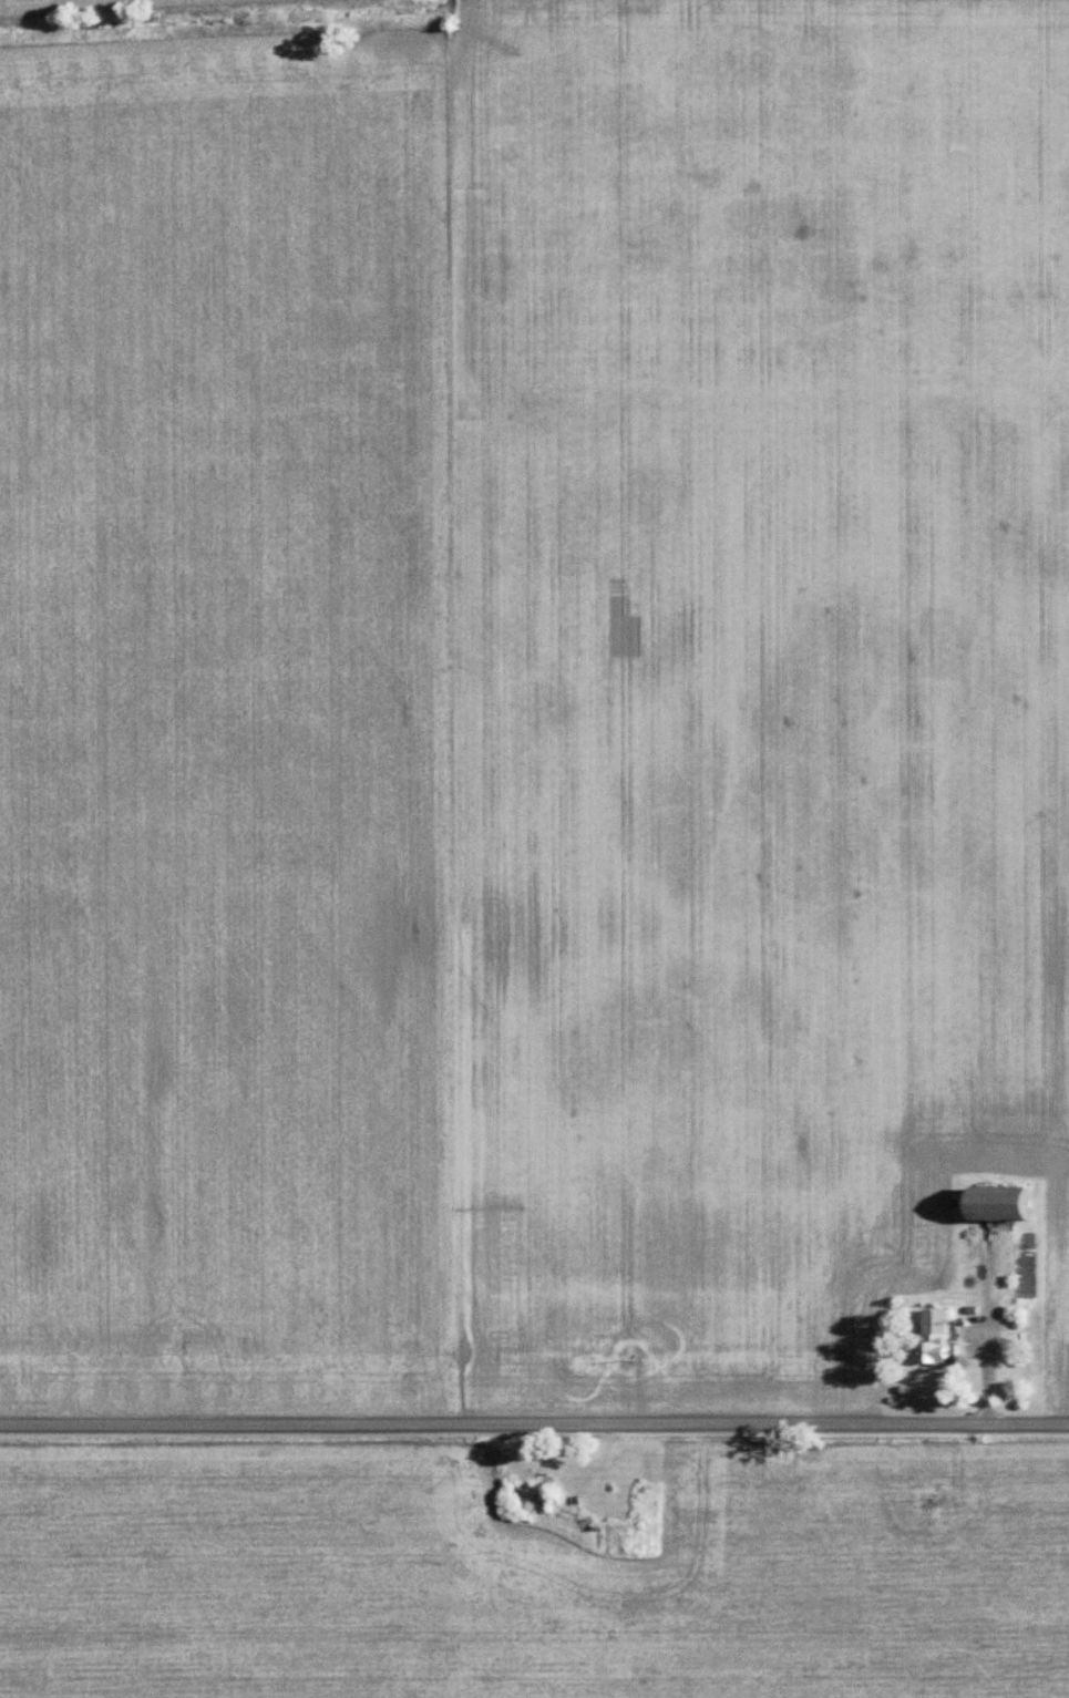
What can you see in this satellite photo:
building: (990, 1203)
building: (929, 1338)
road: (534, 1426)

